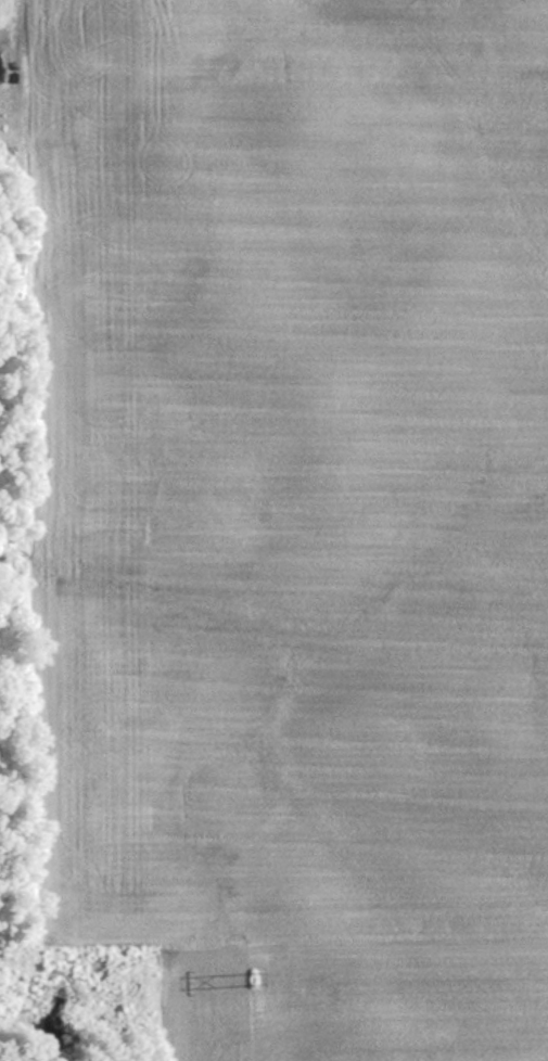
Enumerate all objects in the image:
power tower: (258, 976)

